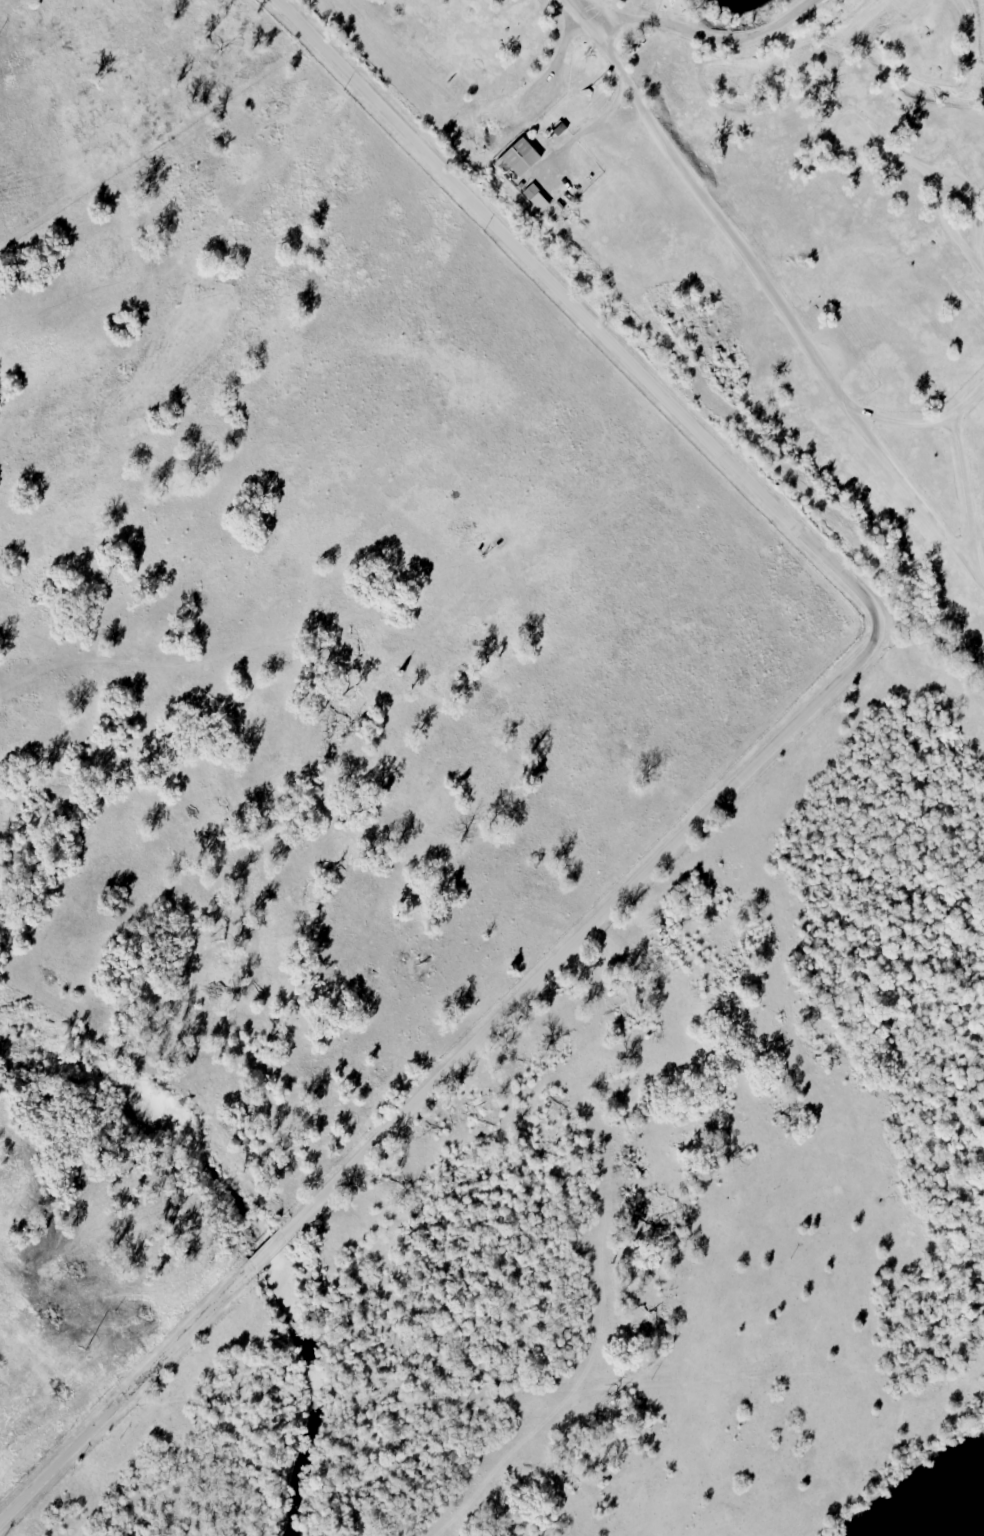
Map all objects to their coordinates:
road: (561, 44)
building: (517, 156)
building: (534, 199)
road: (776, 298)
road: (878, 609)
road: (271, 1246)
road: (120, 1397)

